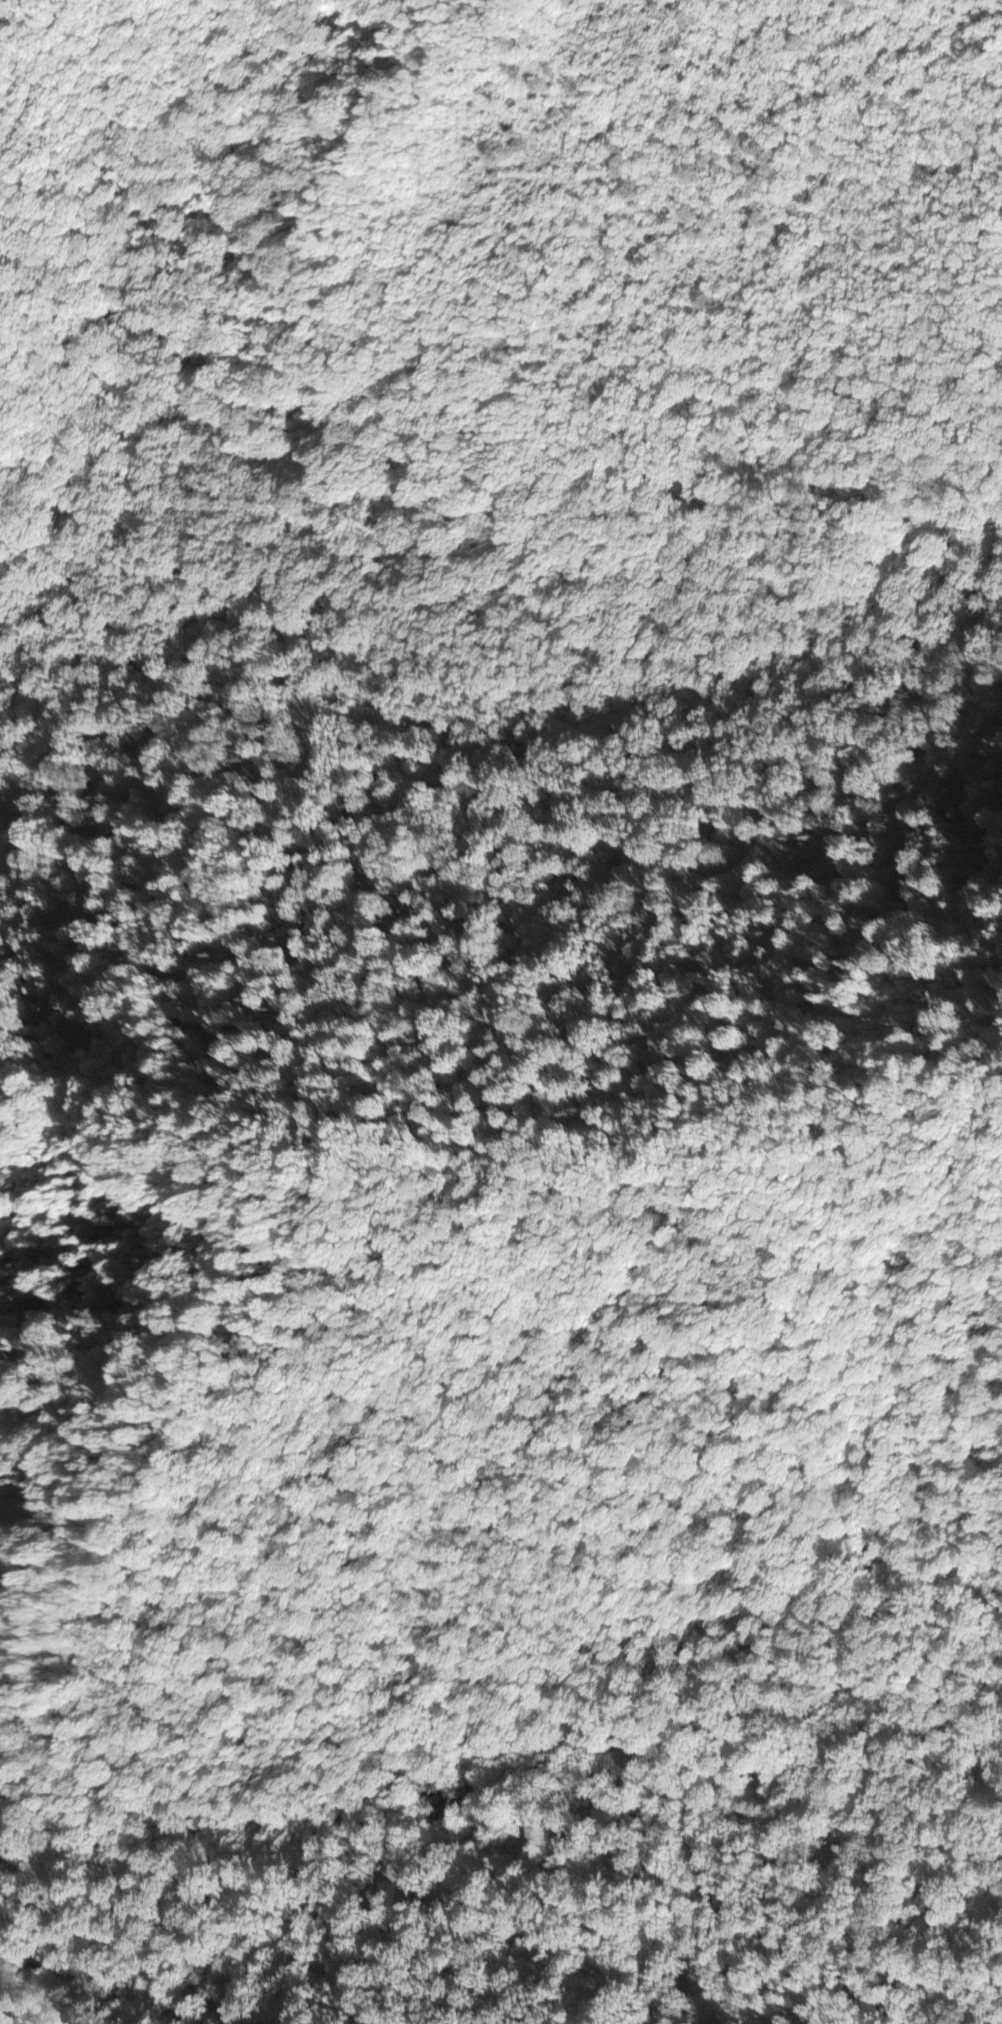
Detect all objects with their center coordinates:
road: (548, 1743)

